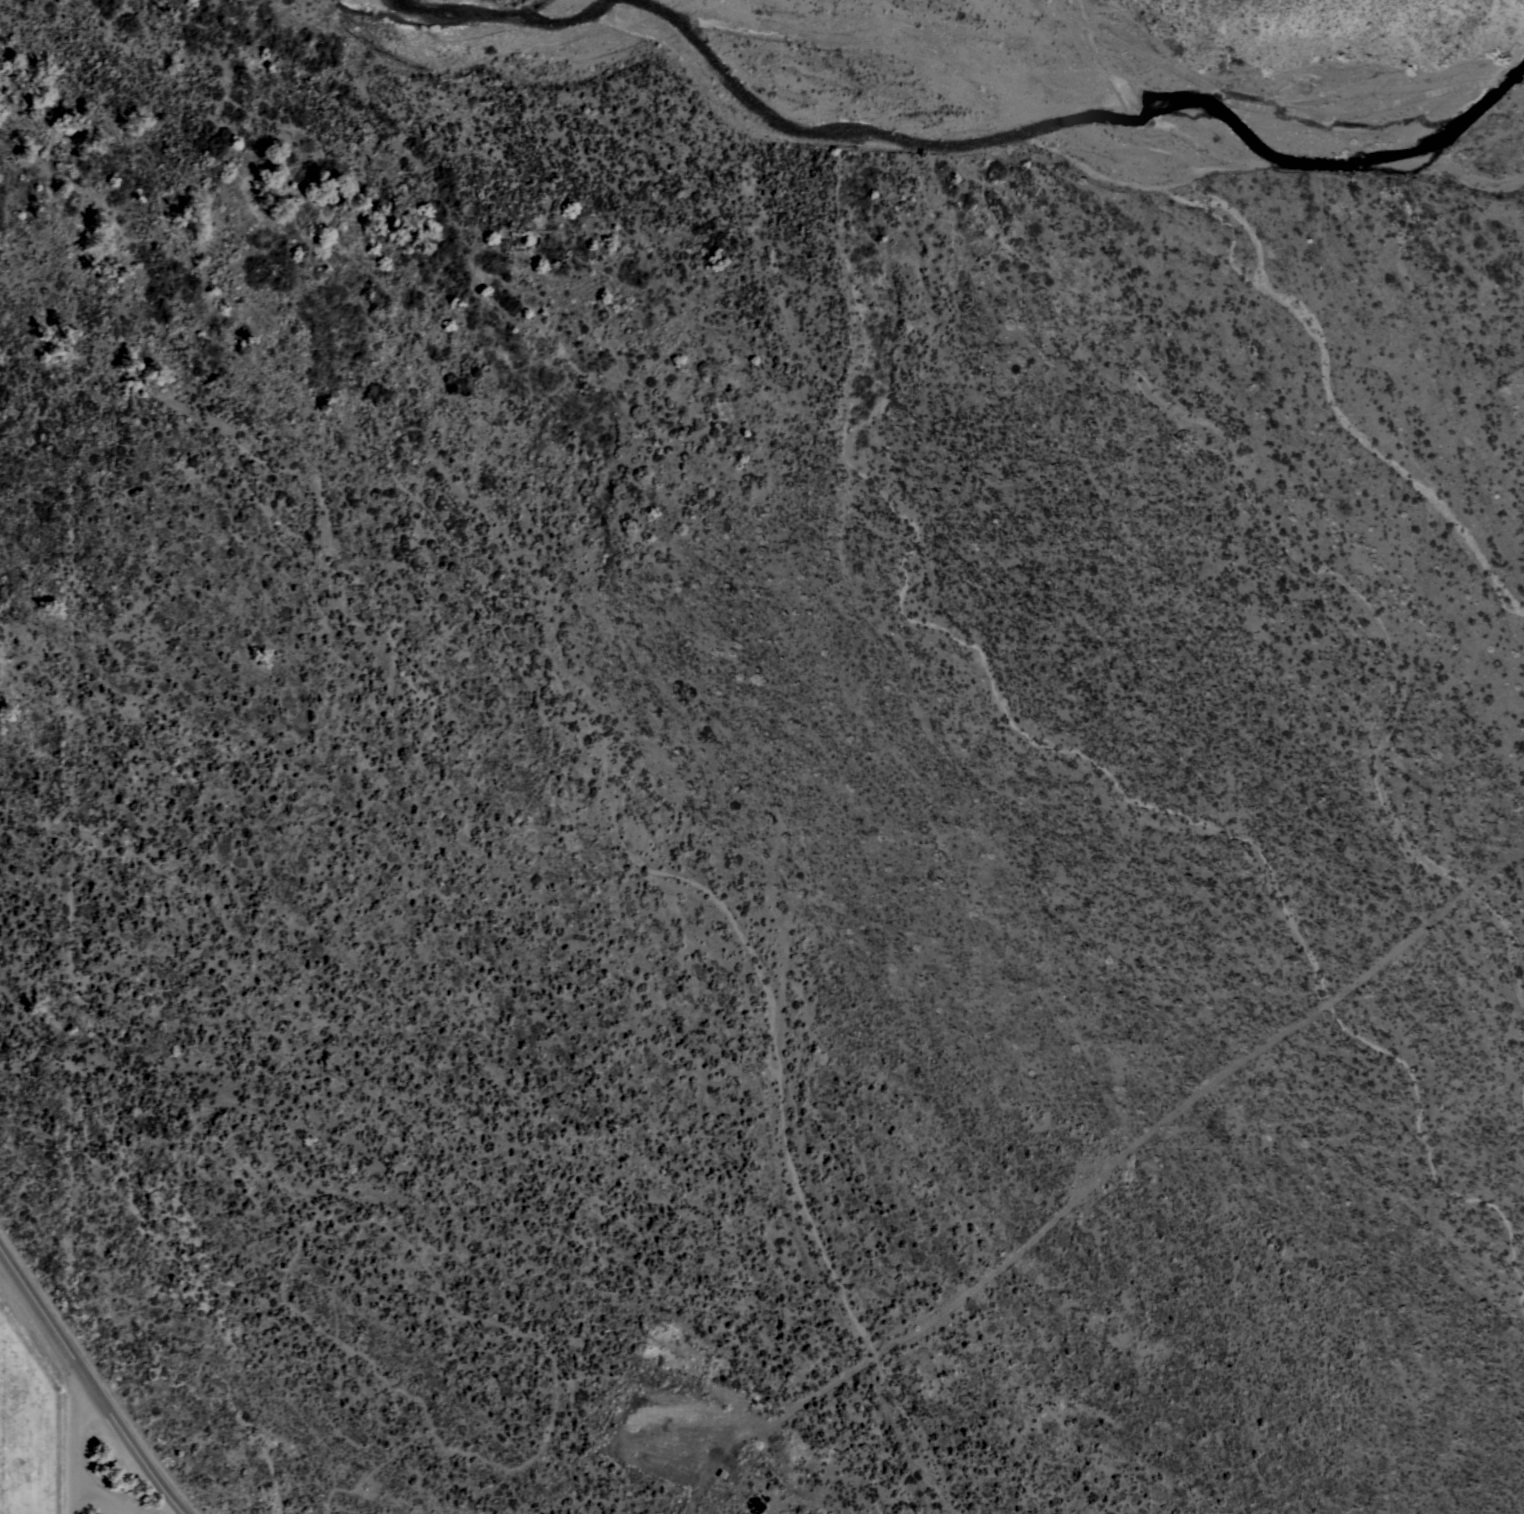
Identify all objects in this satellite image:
road: (89, 1383)
crop: (31, 1426)
road: (74, 1437)
road: (102, 1497)

